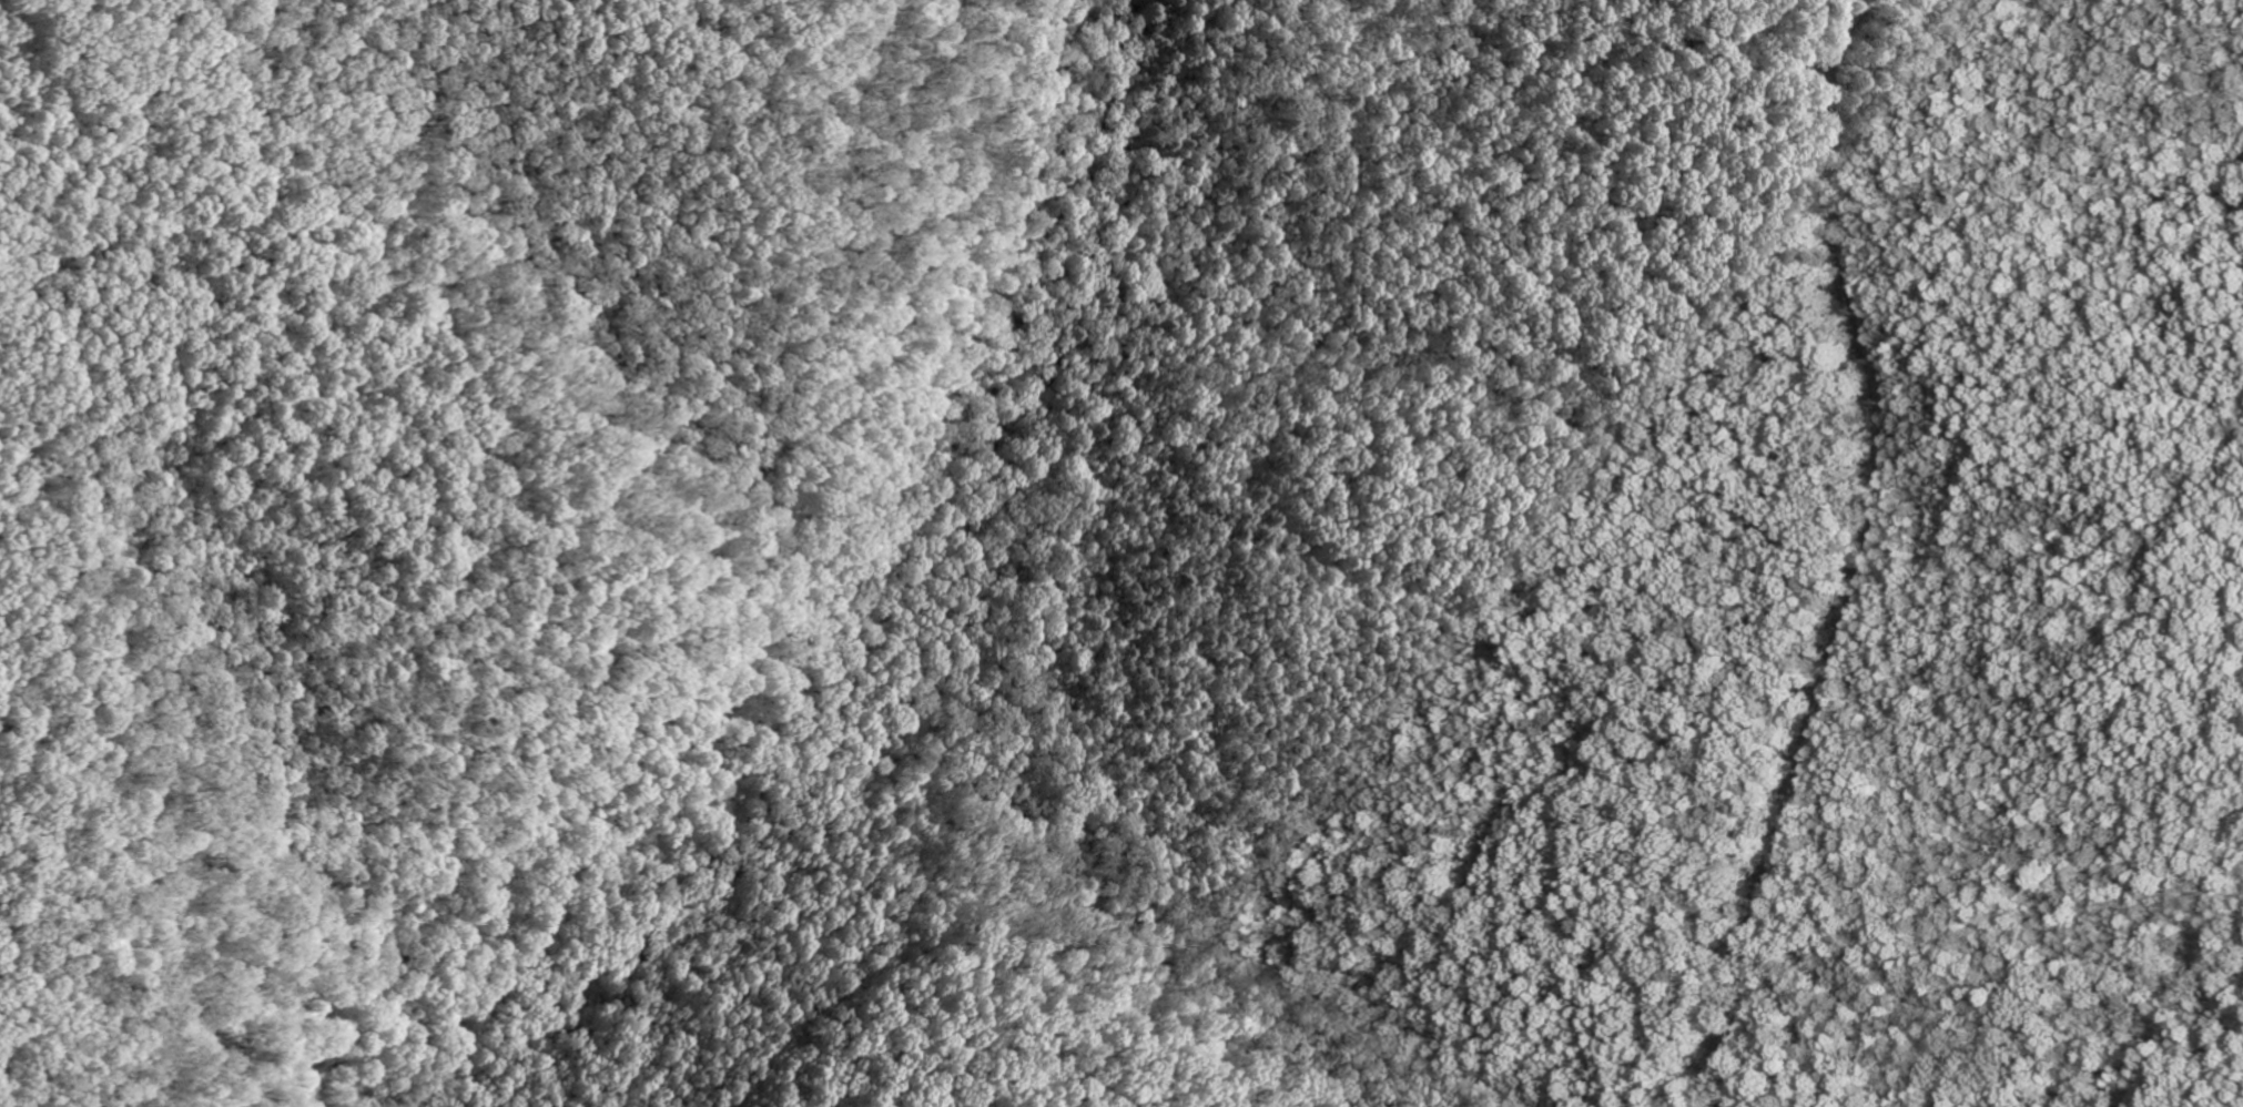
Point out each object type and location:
road: (1867, 549)

